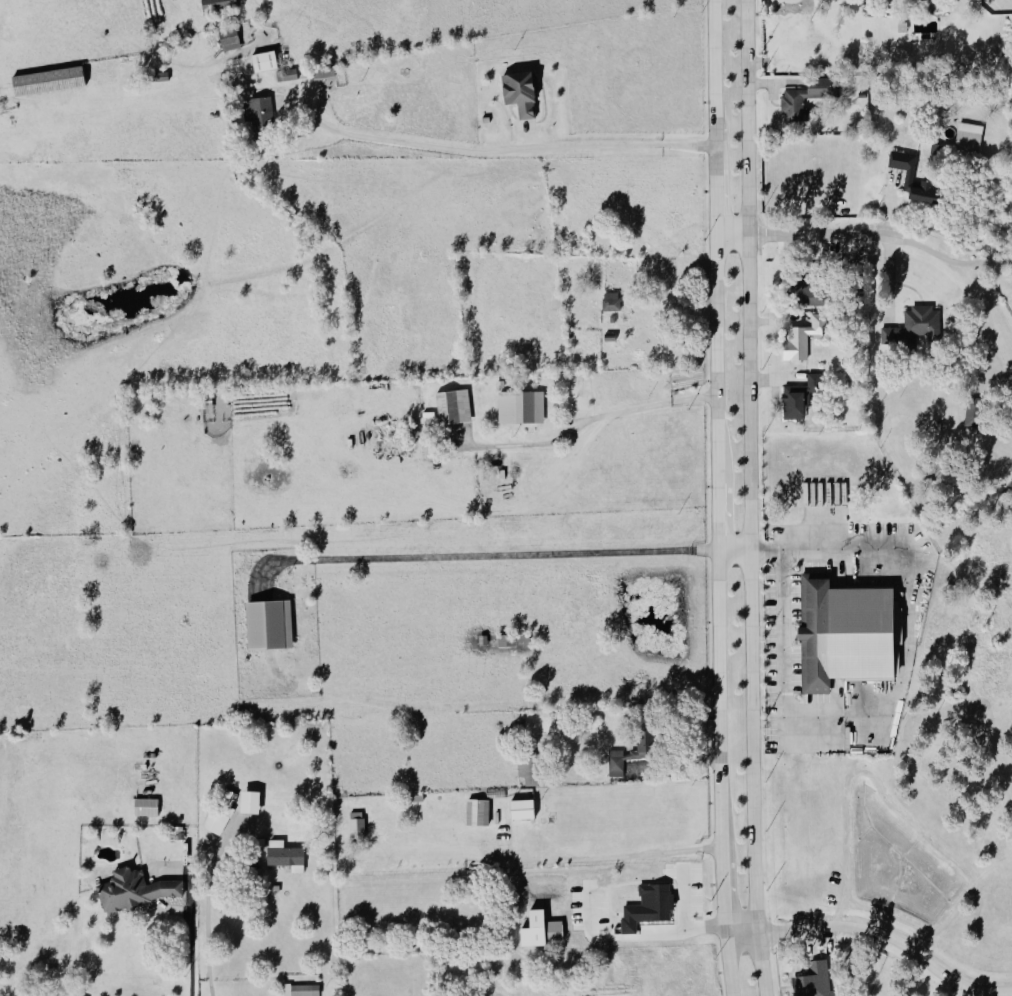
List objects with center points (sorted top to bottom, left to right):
building: (219, 4)
building: (230, 41)
building: (265, 61)
building: (325, 72)
building: (290, 74)
building: (49, 81)
building: (521, 92)
building: (803, 100)
building: (259, 114)
building: (970, 137)
road: (488, 147)
building: (911, 175)
road: (843, 237)
road: (988, 265)
building: (612, 301)
building: (914, 327)
building: (805, 338)
building: (800, 398)
building: (454, 406)
building: (522, 406)
building: (975, 412)
road: (604, 416)
road: (719, 423)
road: (753, 498)
road: (814, 547)
road: (493, 557)
building: (270, 625)
building: (513, 639)
road: (837, 713)
building: (633, 753)
road: (675, 762)
building: (250, 802)
building: (147, 807)
building: (523, 810)
building: (222, 812)
building: (479, 813)
building: (358, 824)
building: (287, 856)
road: (615, 856)
road: (724, 889)
building: (135, 890)
road: (210, 907)
building: (649, 907)
road: (676, 926)
building: (541, 930)
road: (875, 932)
road: (191, 941)
road: (729, 963)
building: (812, 979)
building: (305, 991)

